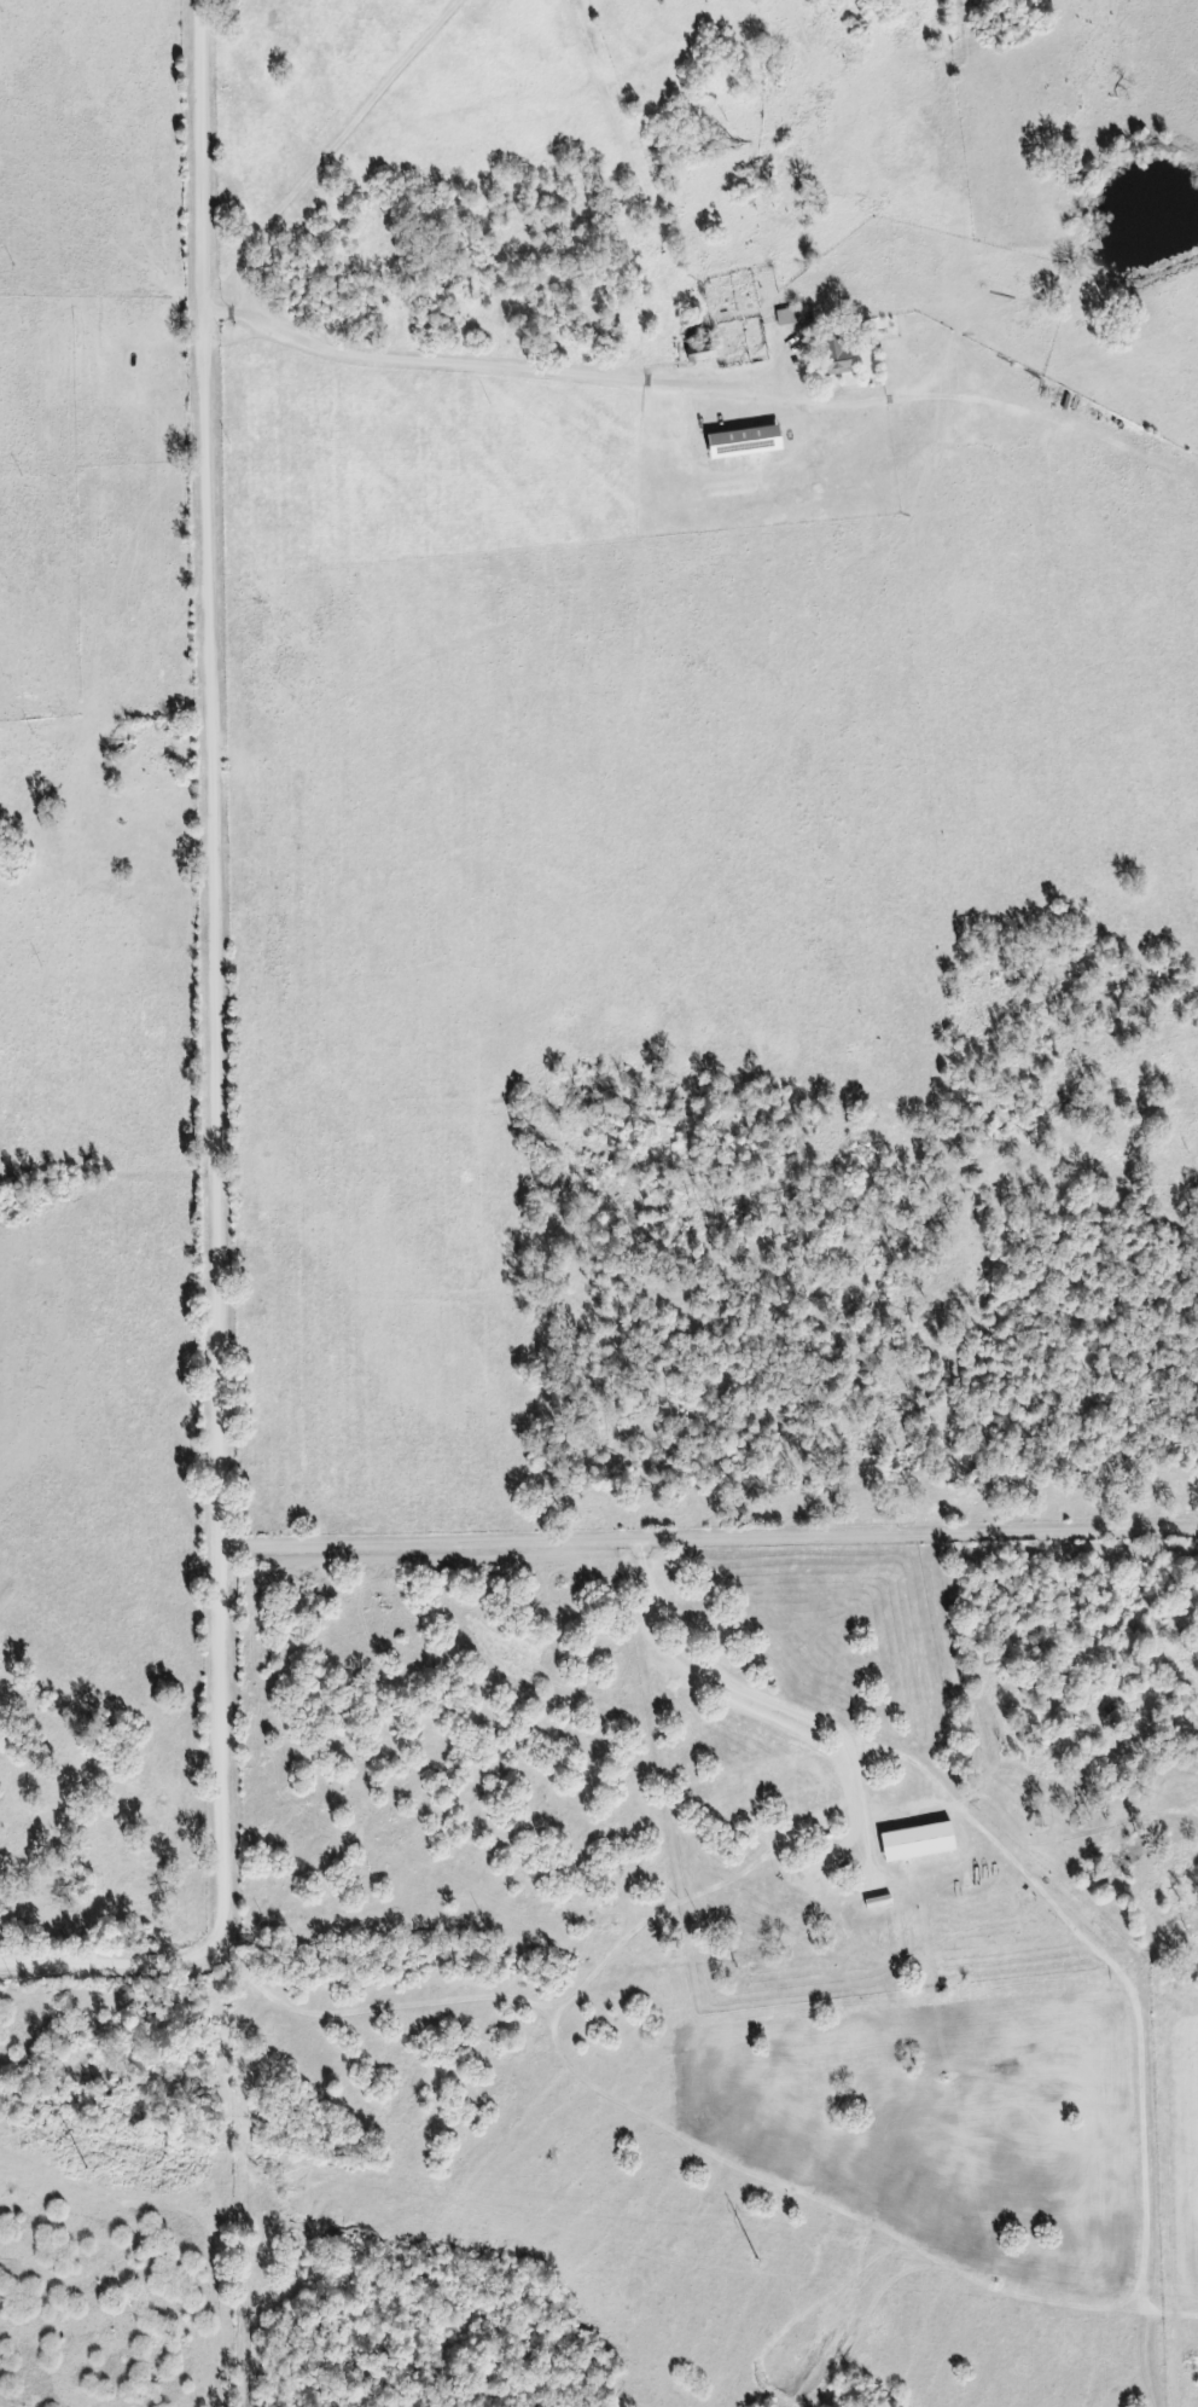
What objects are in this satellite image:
road: (337, 147)
road: (231, 312)
building: (784, 317)
building: (694, 354)
building: (828, 355)
road: (734, 382)
road: (226, 1084)
road: (713, 1536)
power tower: (80, 2171)
power tower: (751, 2258)

